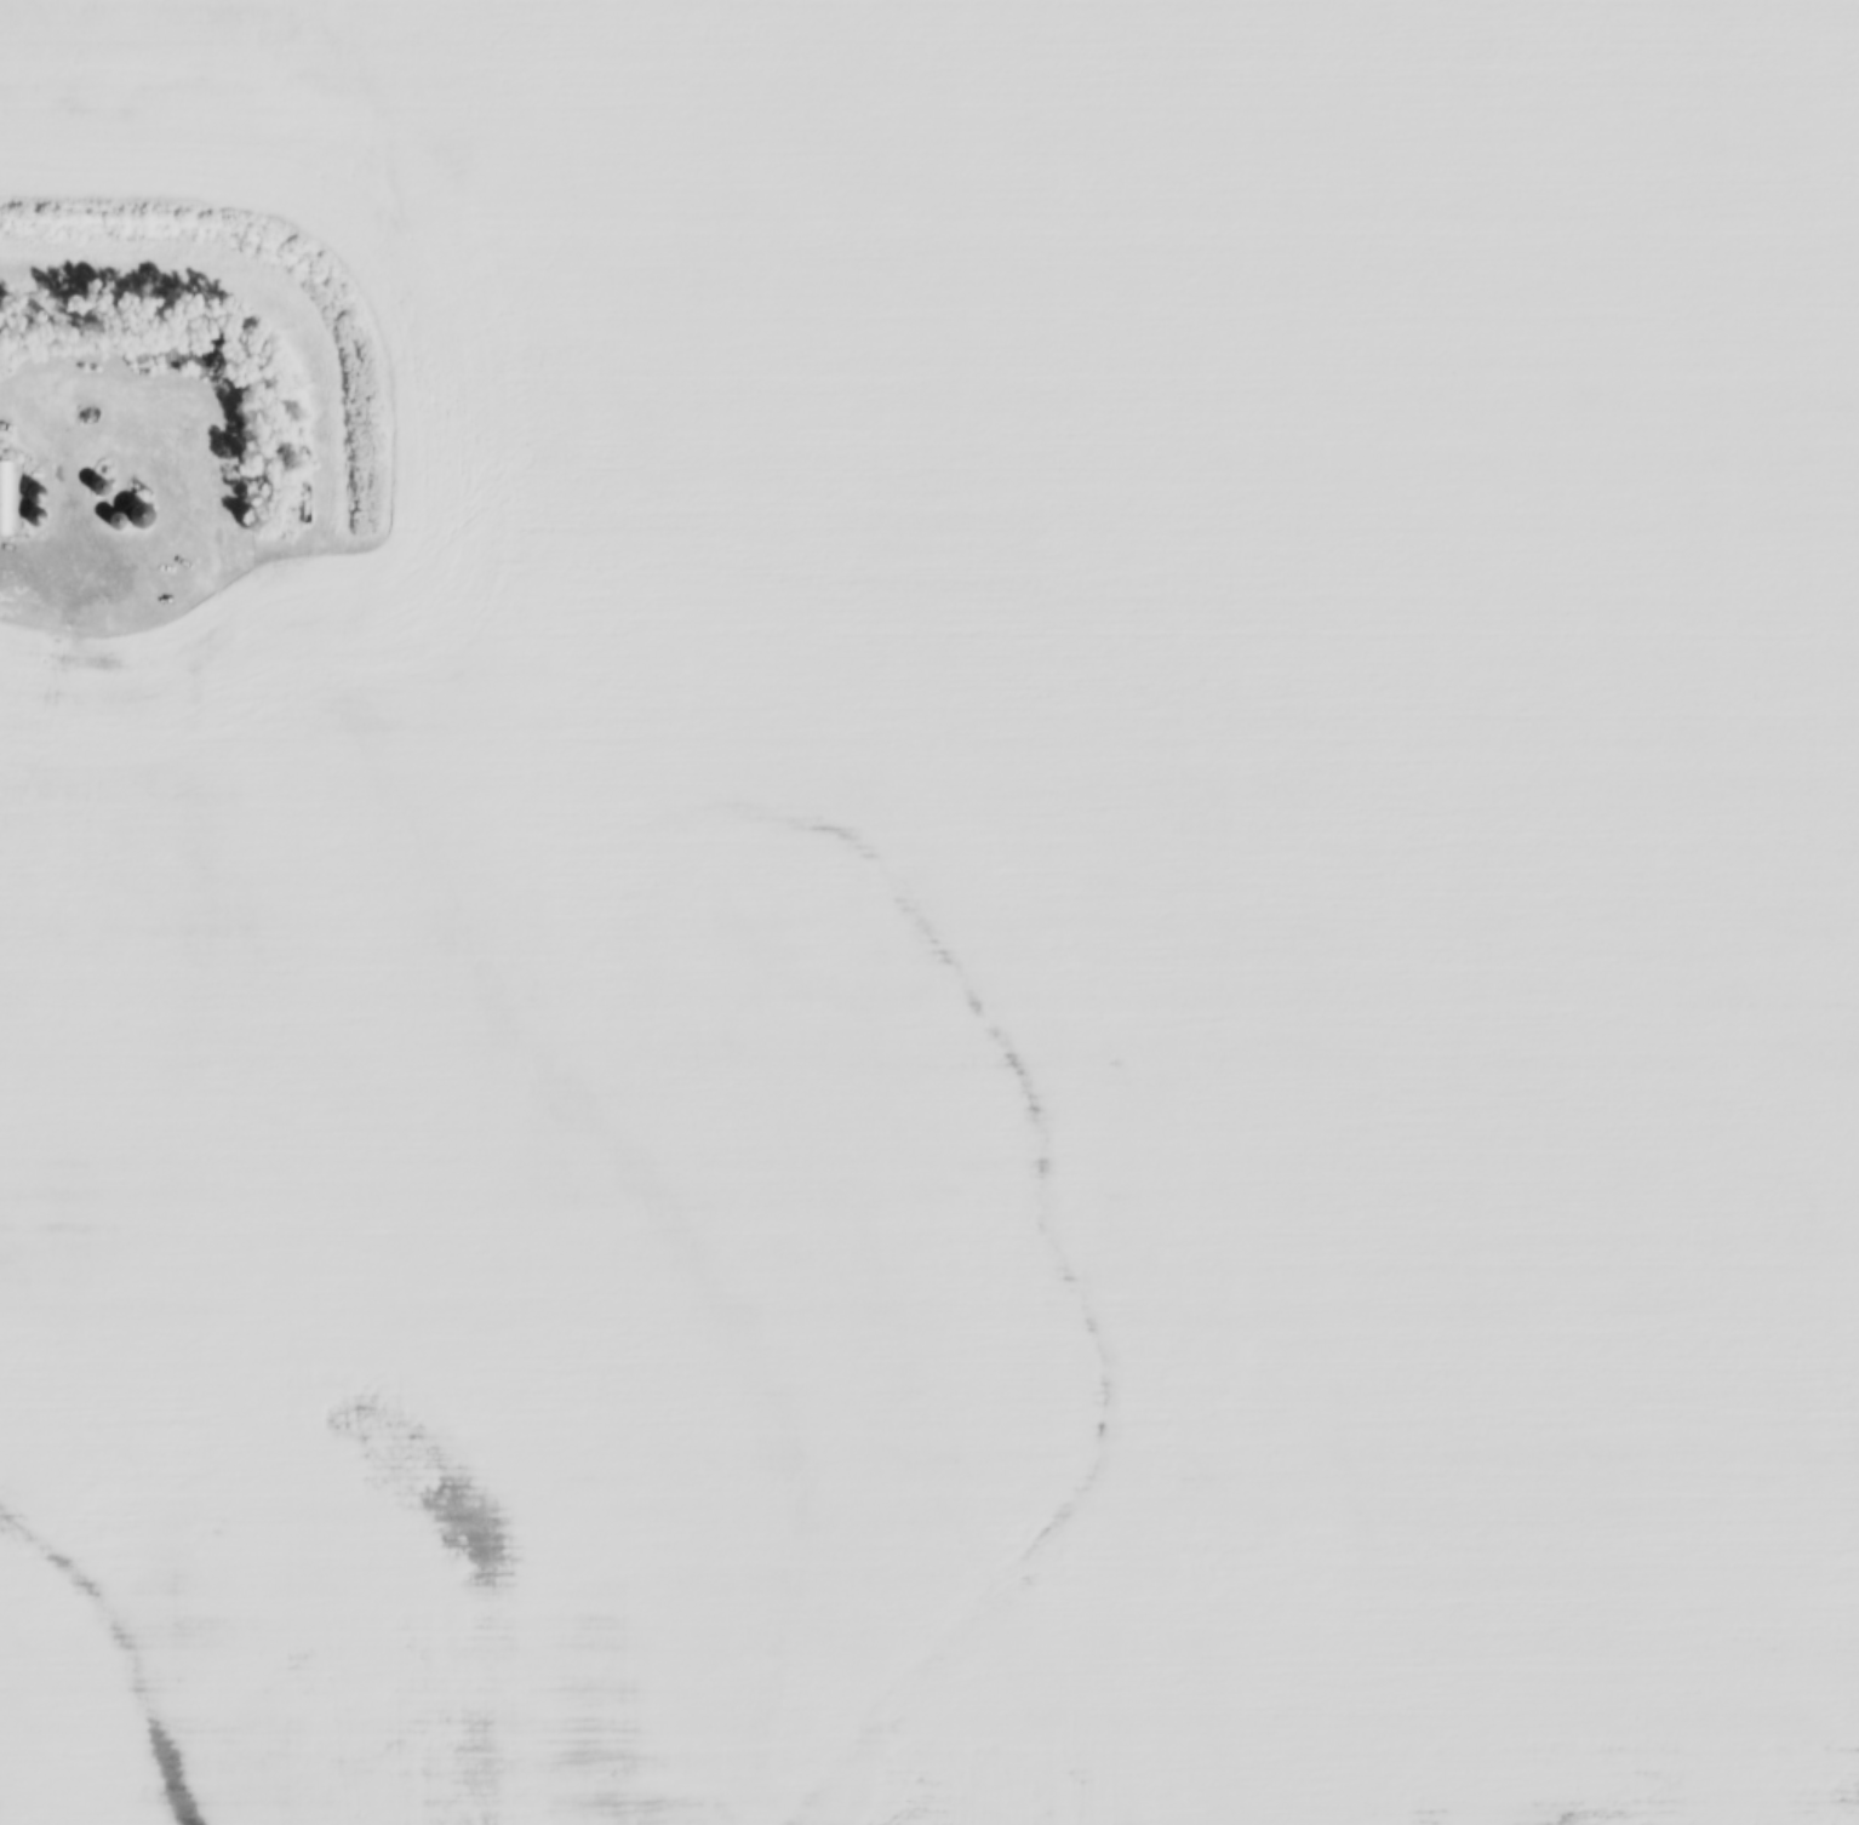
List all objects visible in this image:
building: (10, 498)
road: (59, 563)

